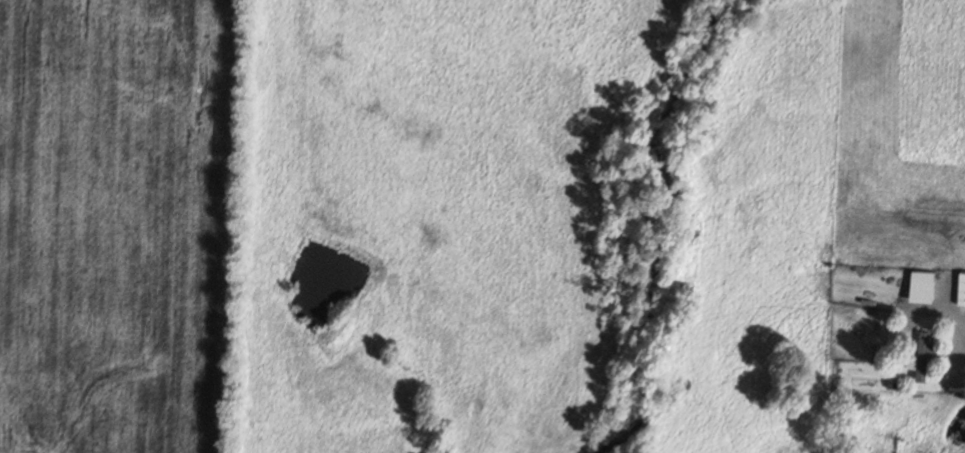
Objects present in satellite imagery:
building: (925, 286)
building: (962, 289)
road: (947, 313)
building: (927, 356)

